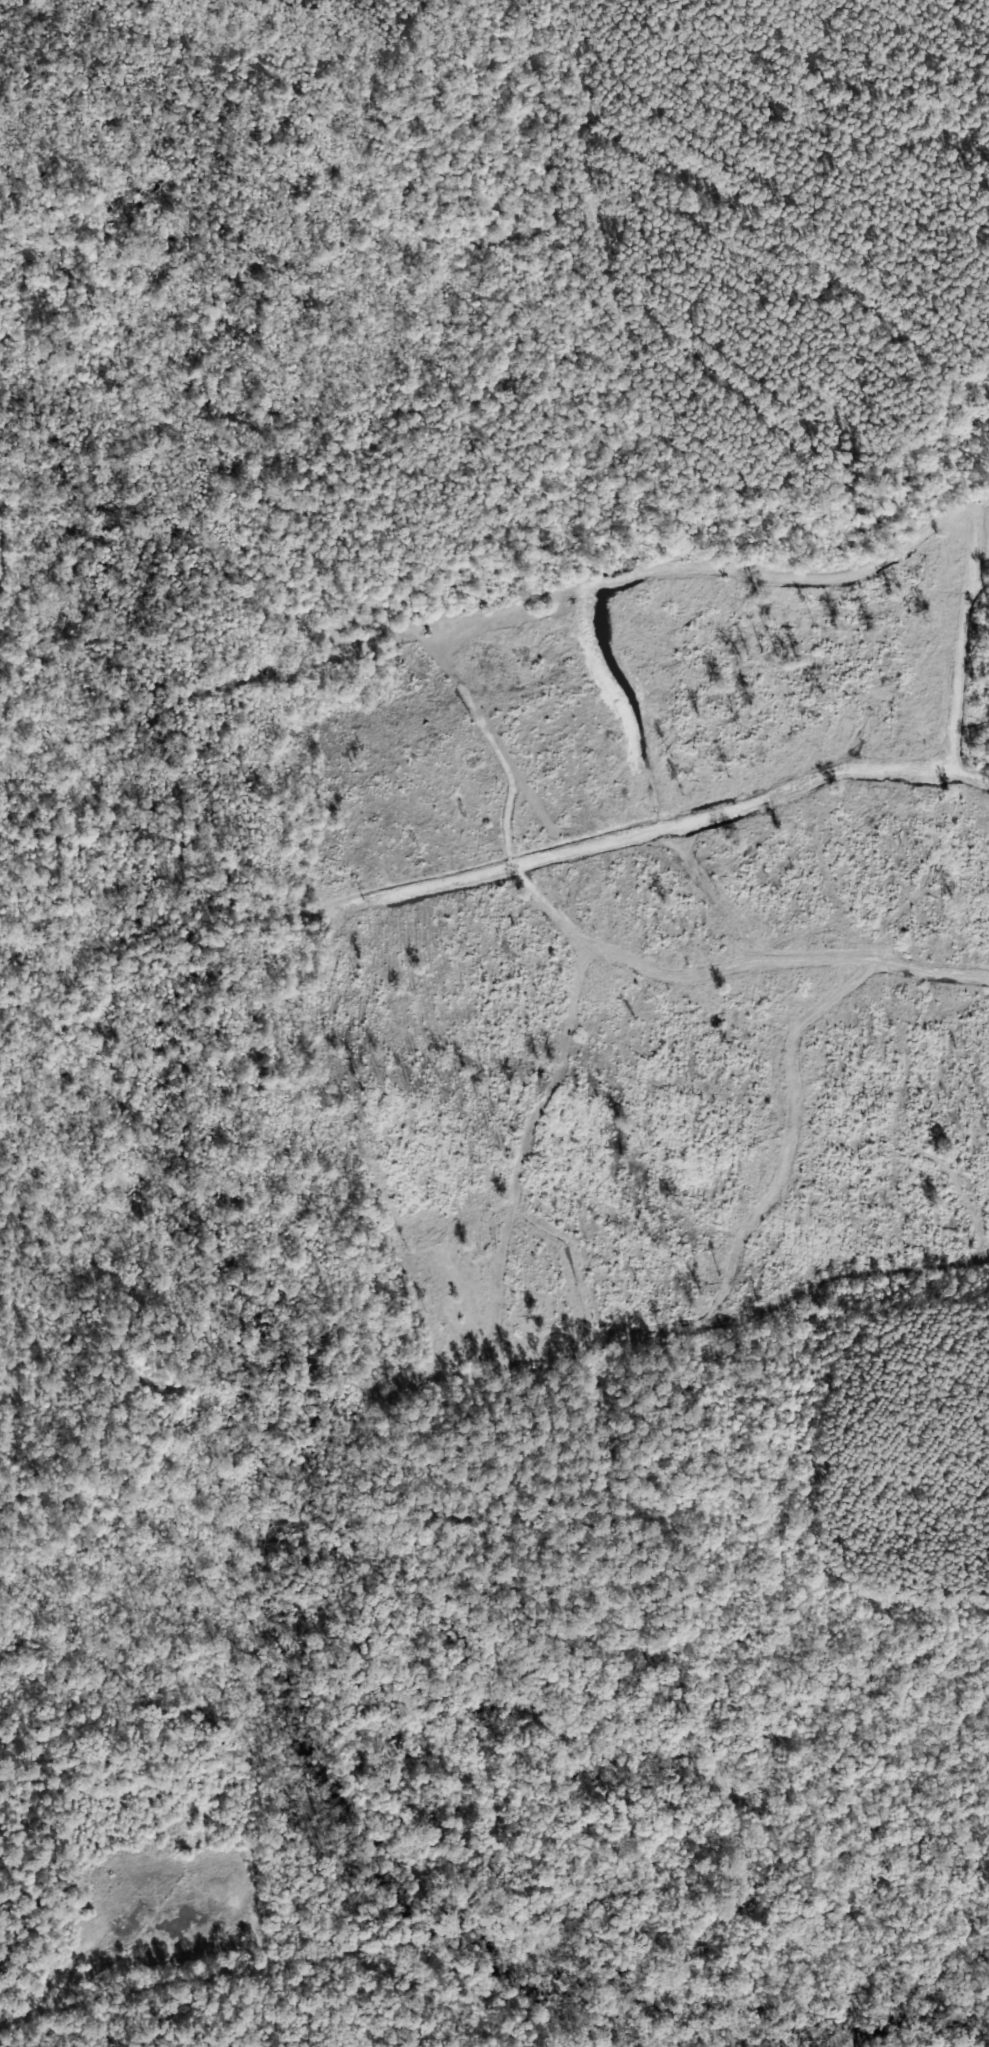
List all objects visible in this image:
road: (494, 1923)

